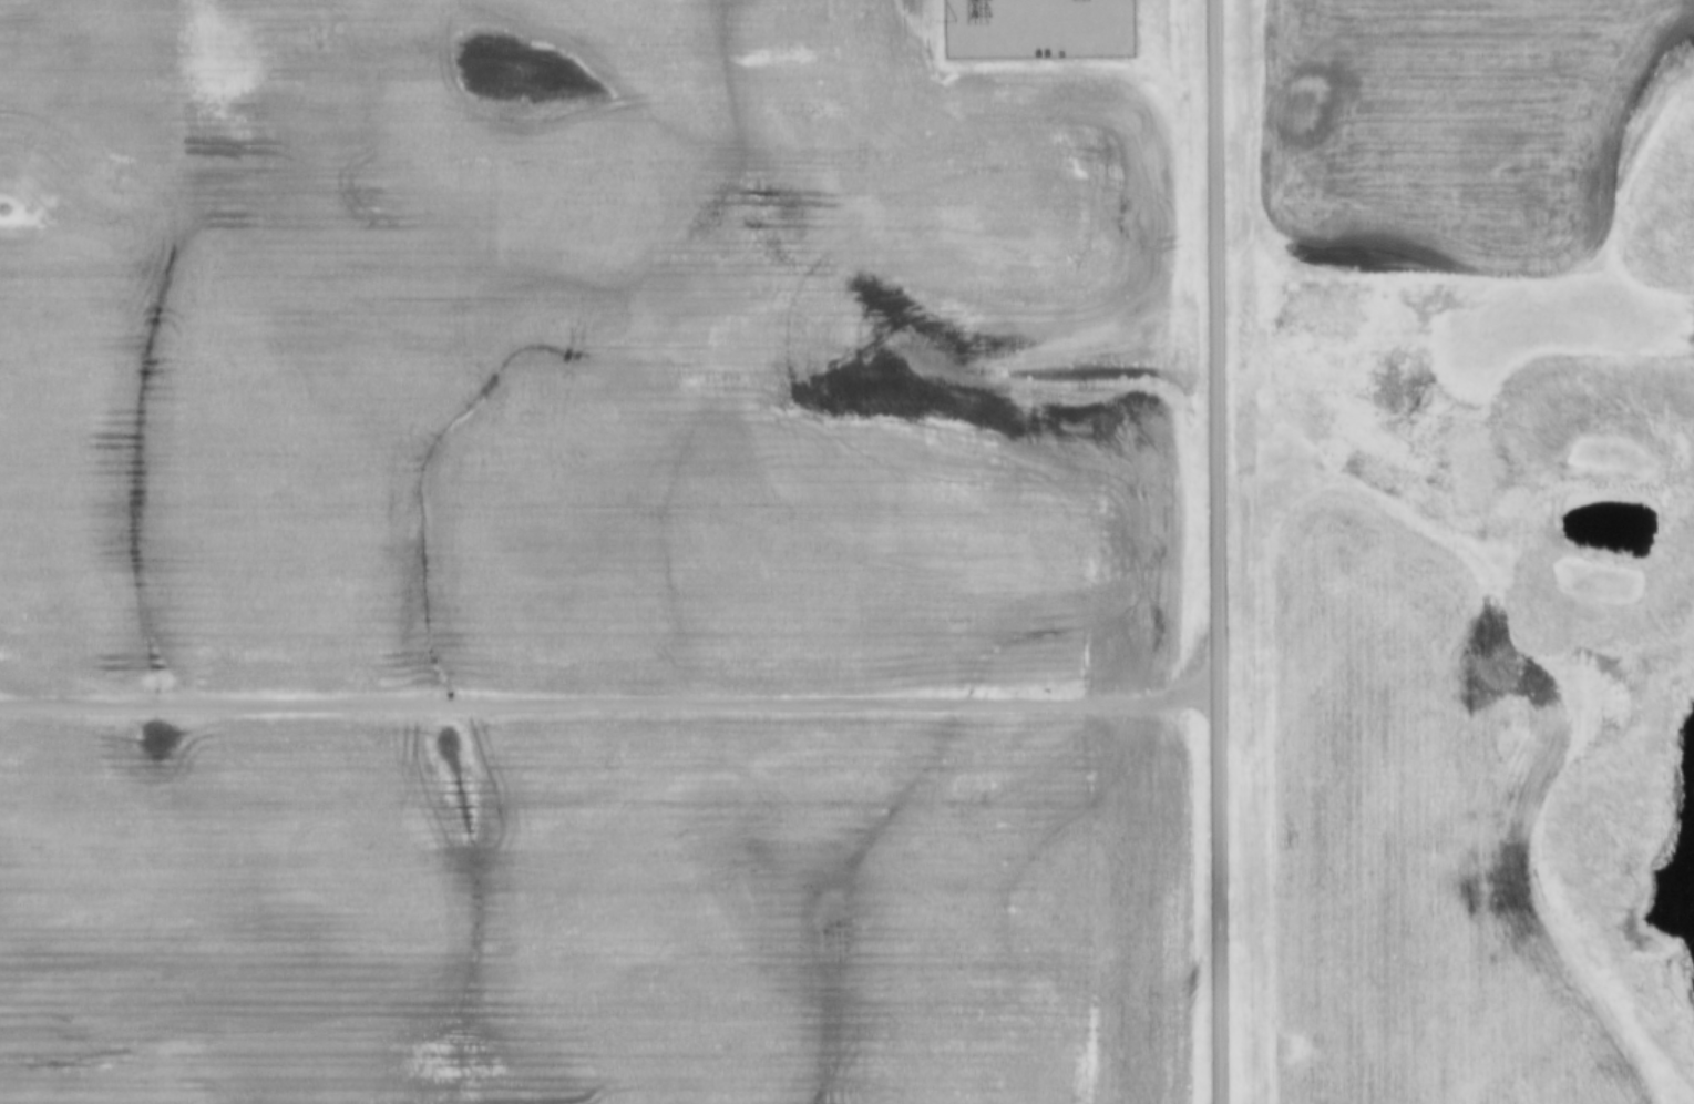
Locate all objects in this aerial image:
power substation: (1033, 29)
road: (1219, 552)
road: (609, 704)

